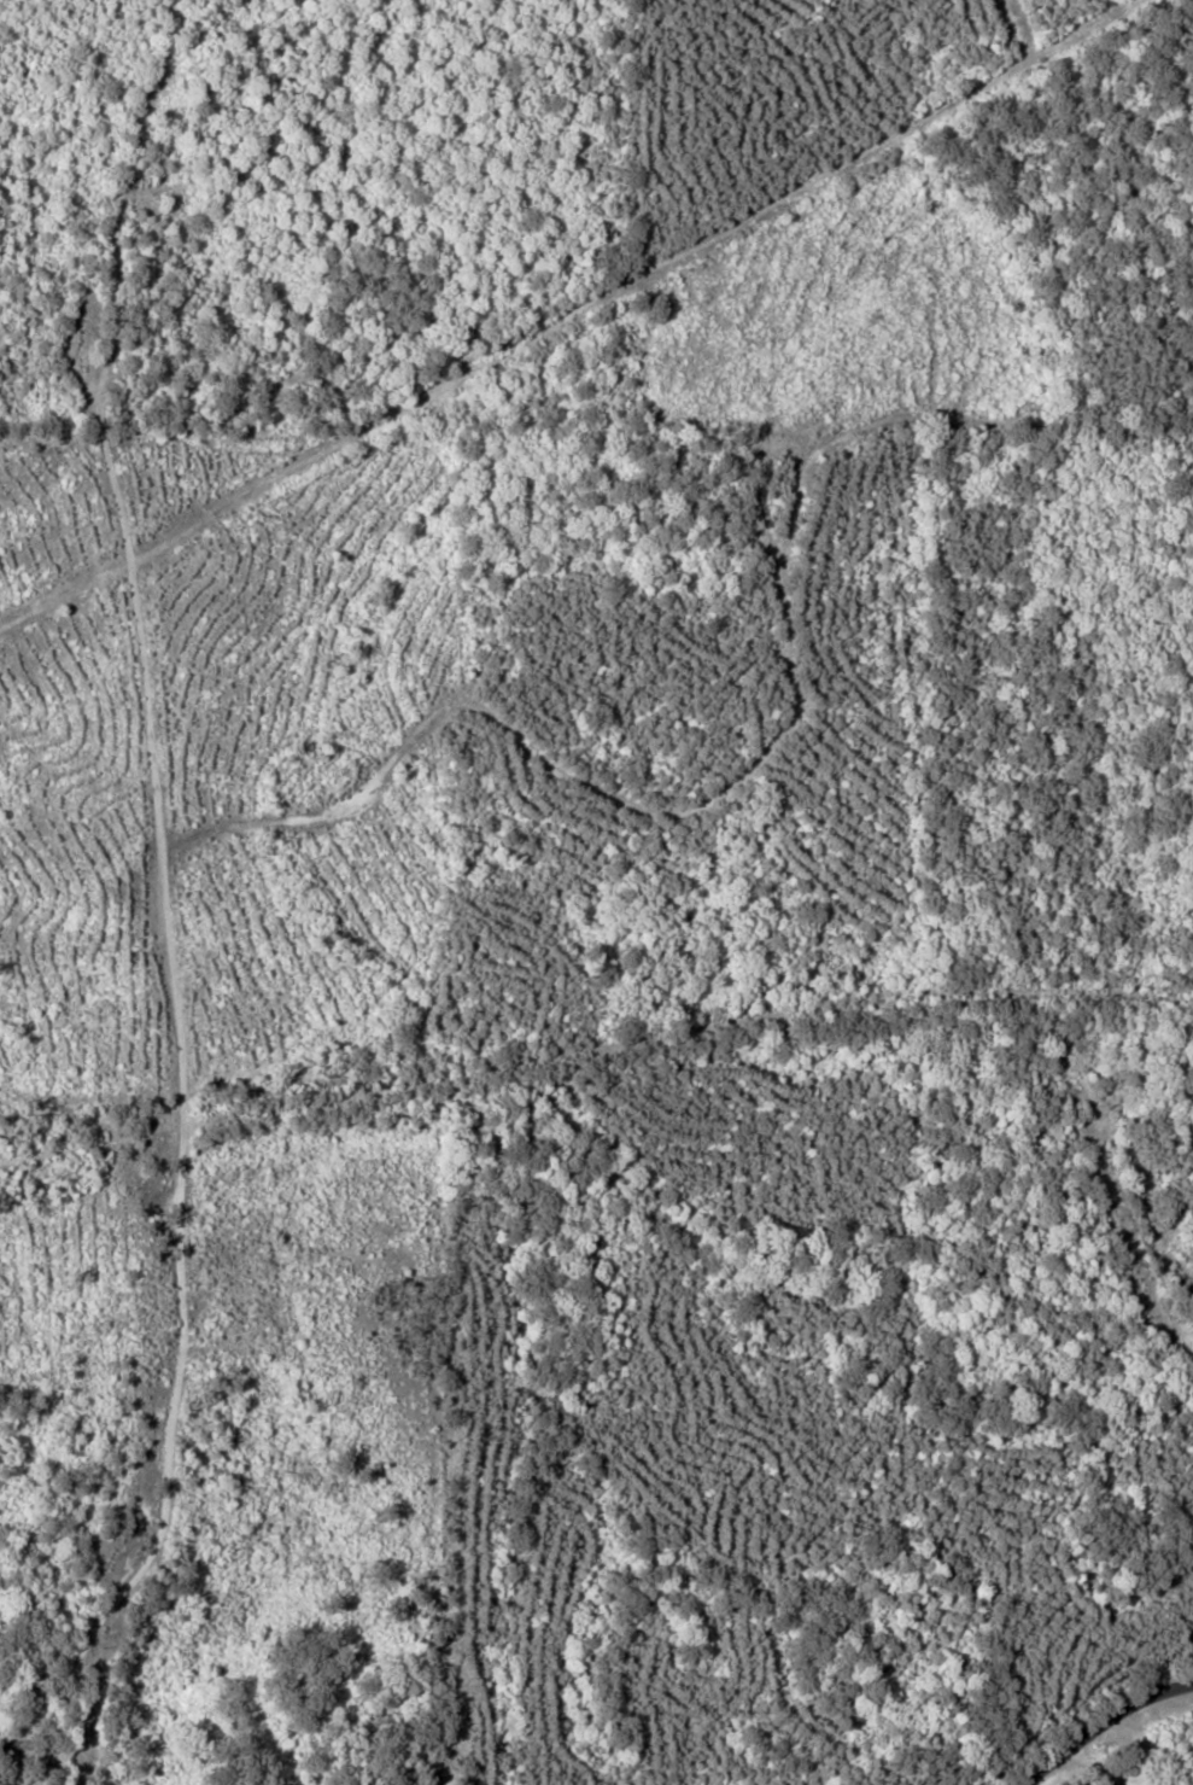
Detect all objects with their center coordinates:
road: (1095, 1721)
building: (1117, 1783)

